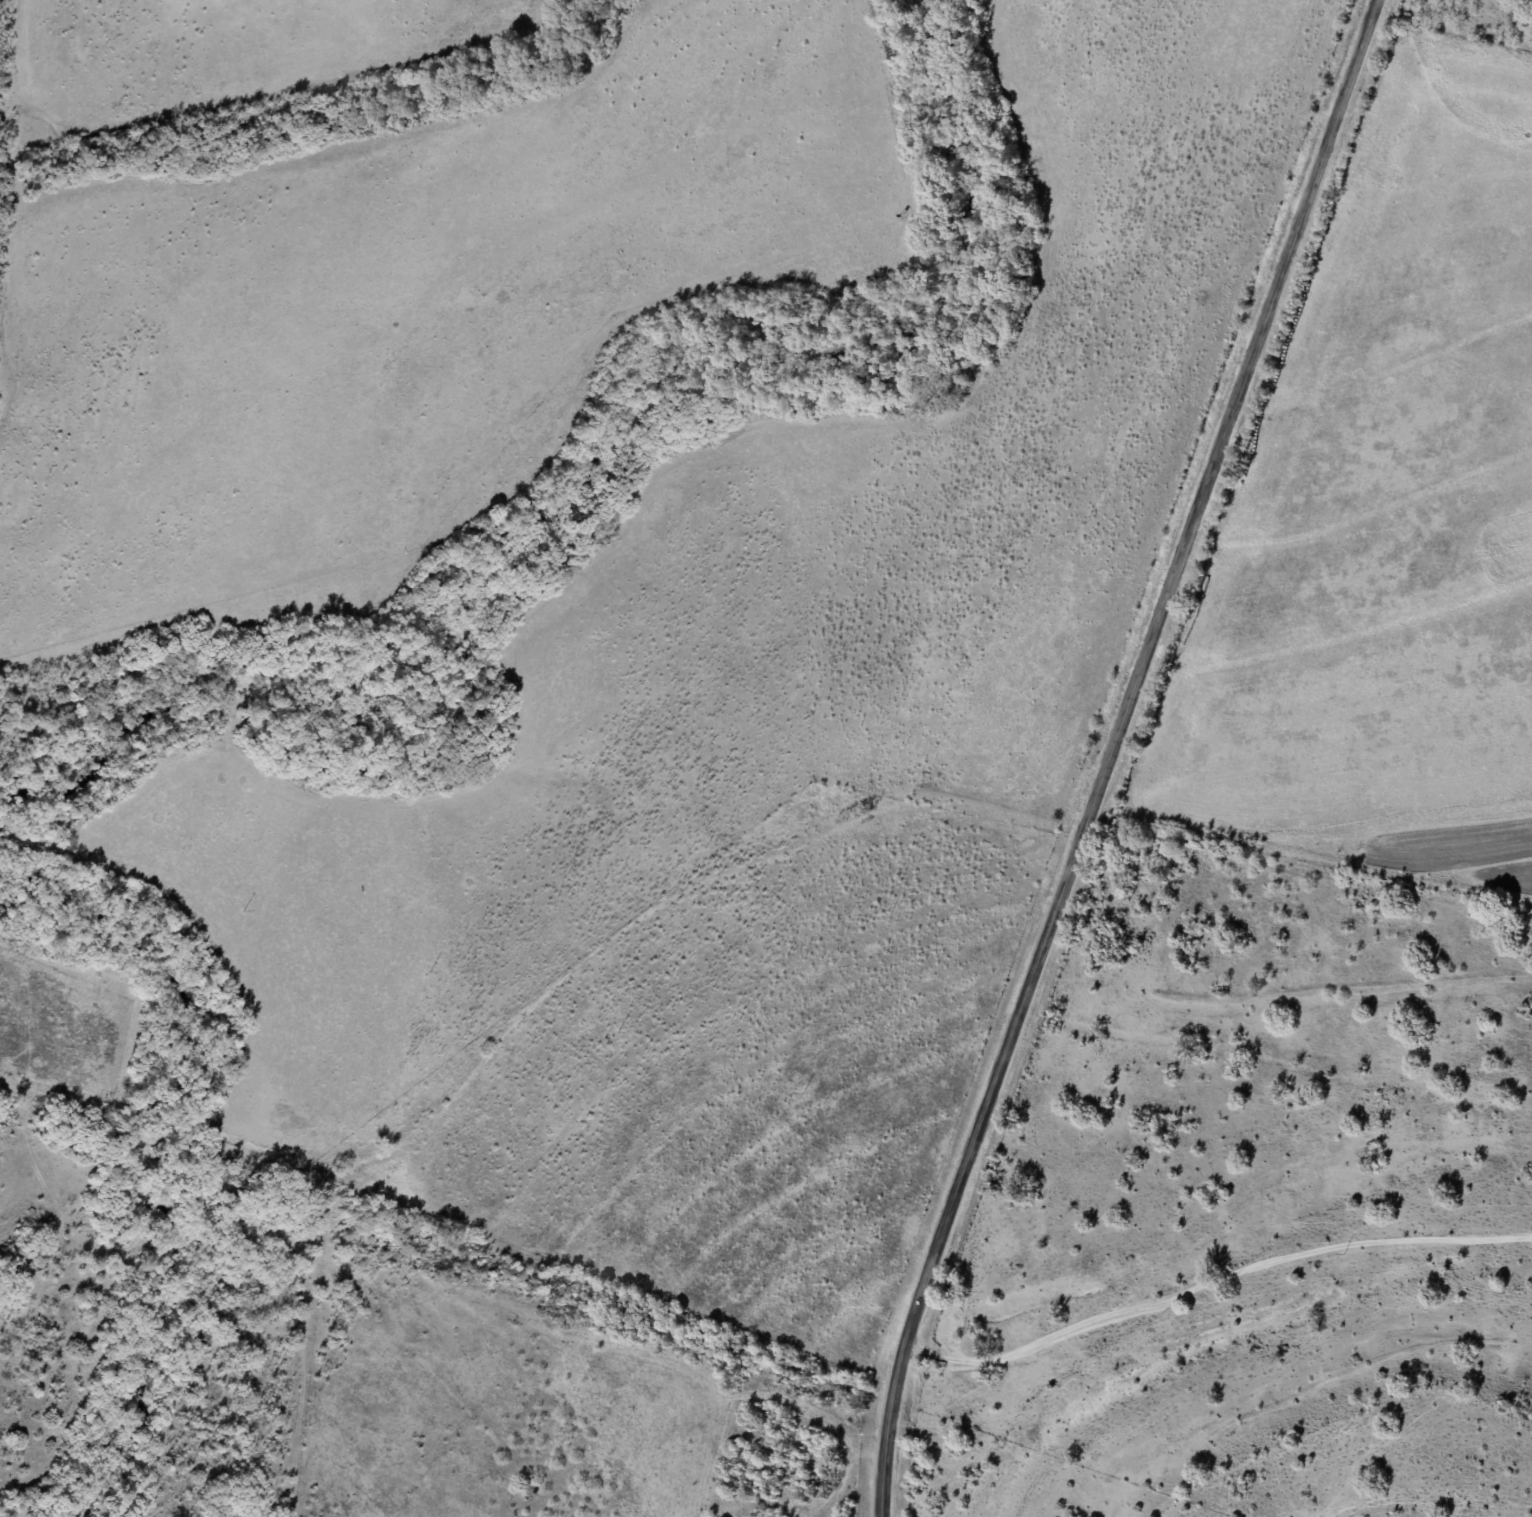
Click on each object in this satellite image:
road: (1111, 753)
road: (1215, 1261)

